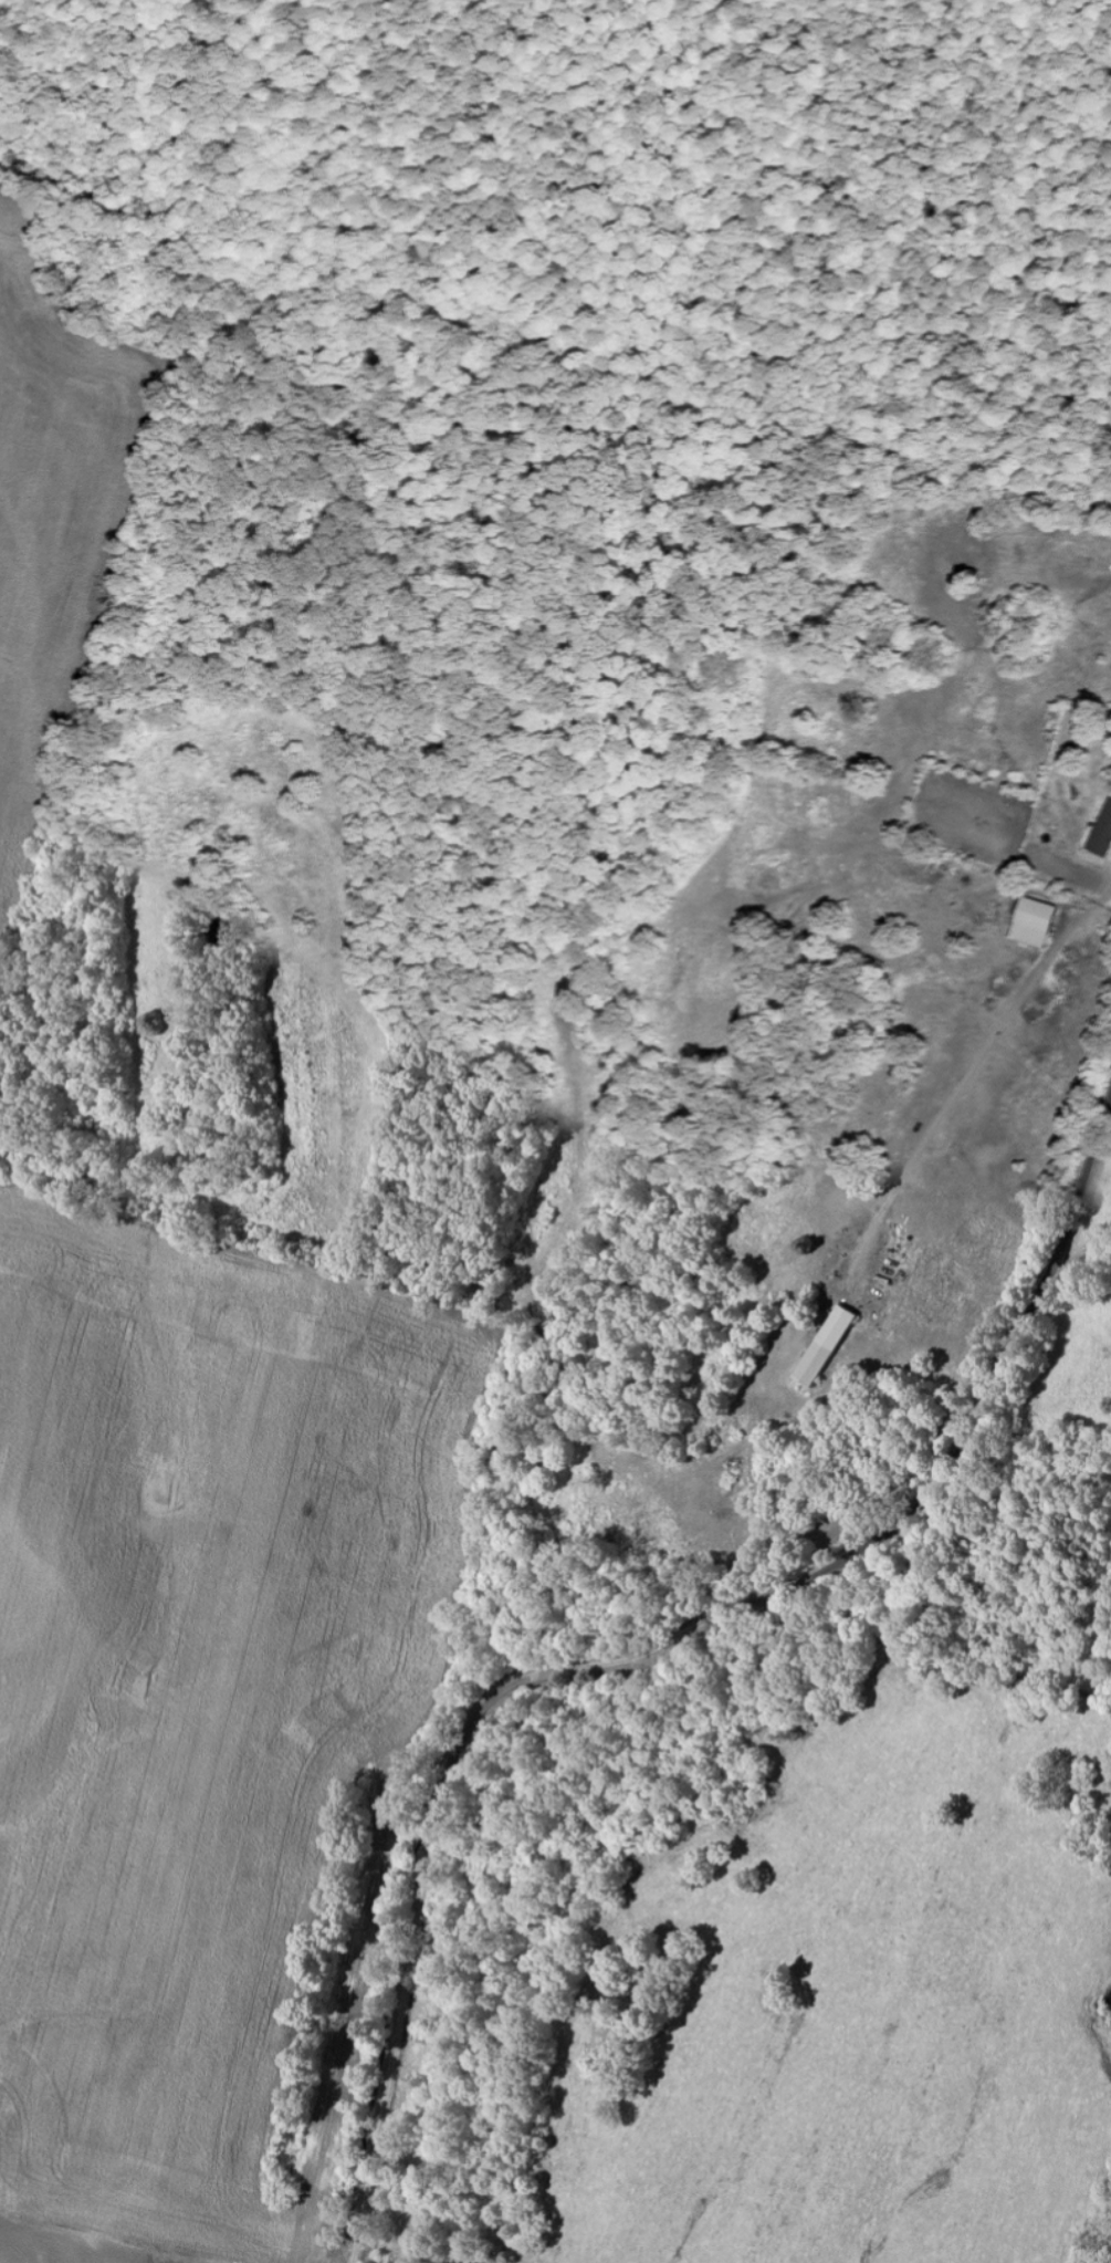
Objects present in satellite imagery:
building: (1101, 832)
building: (1028, 922)
building: (832, 1344)
road: (656, 1648)
road: (373, 2259)

